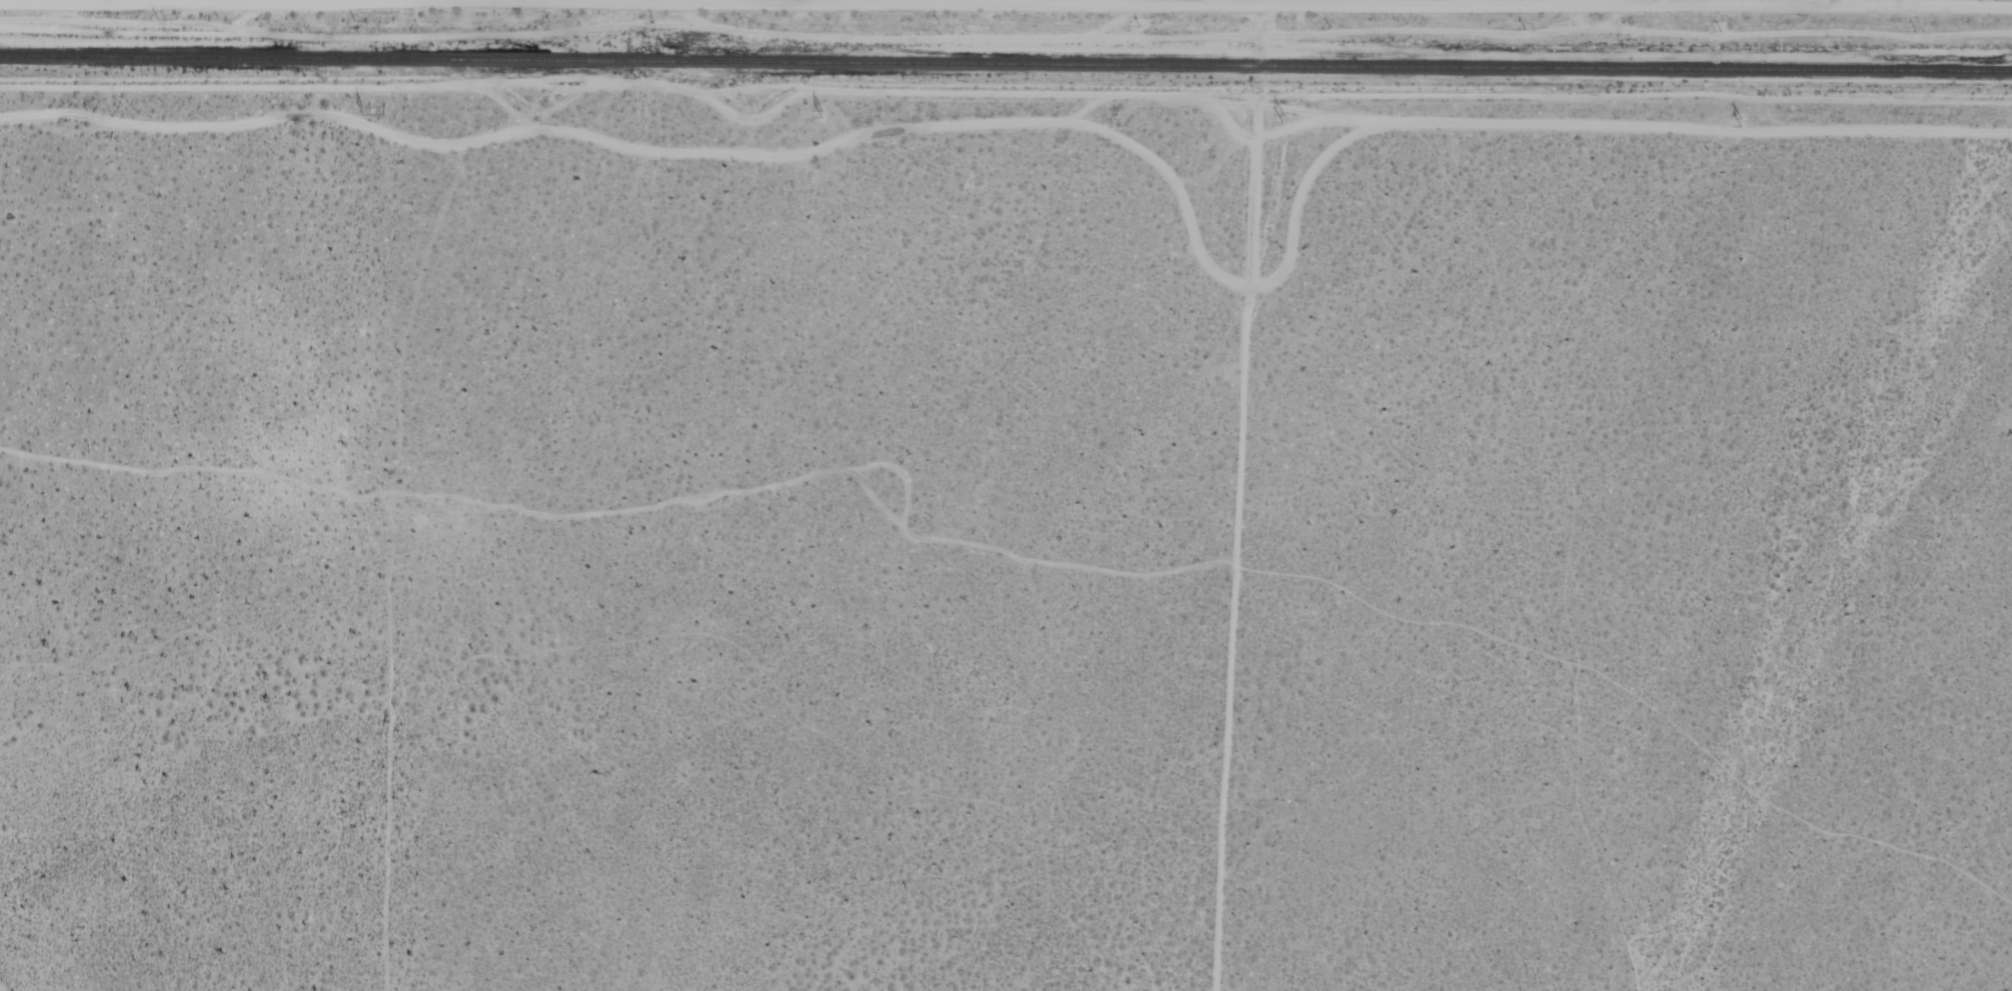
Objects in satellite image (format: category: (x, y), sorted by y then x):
road: (1288, 3)
road: (1841, 3)
road: (762, 6)
railway: (1006, 61)
power tower: (363, 114)
power tower: (820, 119)
power tower: (1293, 122)
power tower: (1747, 122)
road: (1236, 494)

